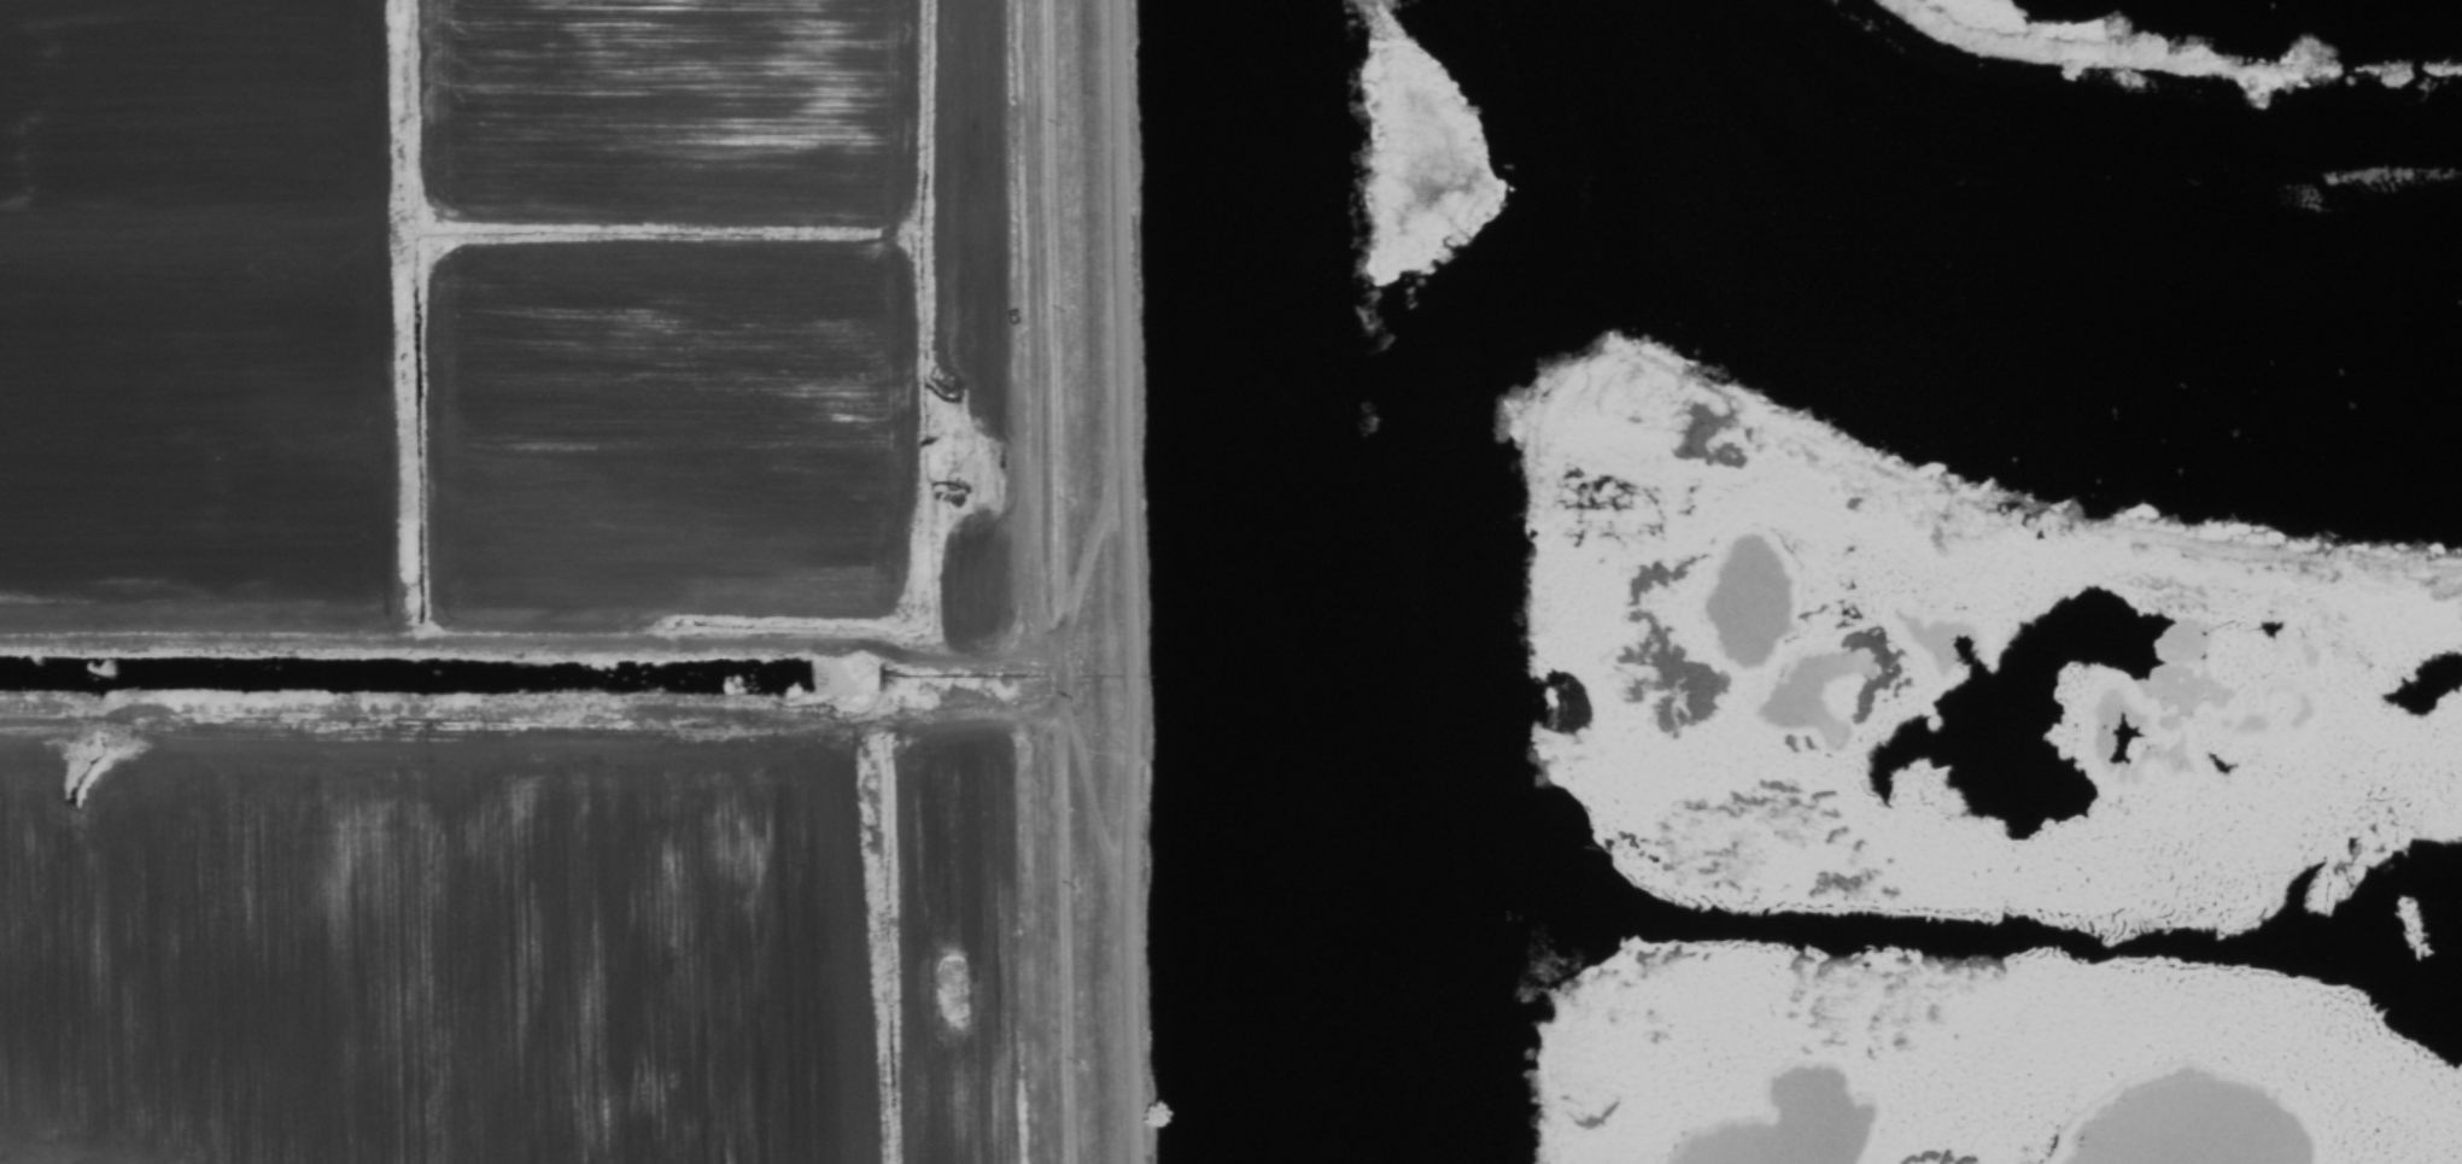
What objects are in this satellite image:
road: (1124, 583)
crop: (554, 590)
road: (631, 645)
road: (1060, 678)
road: (634, 725)

